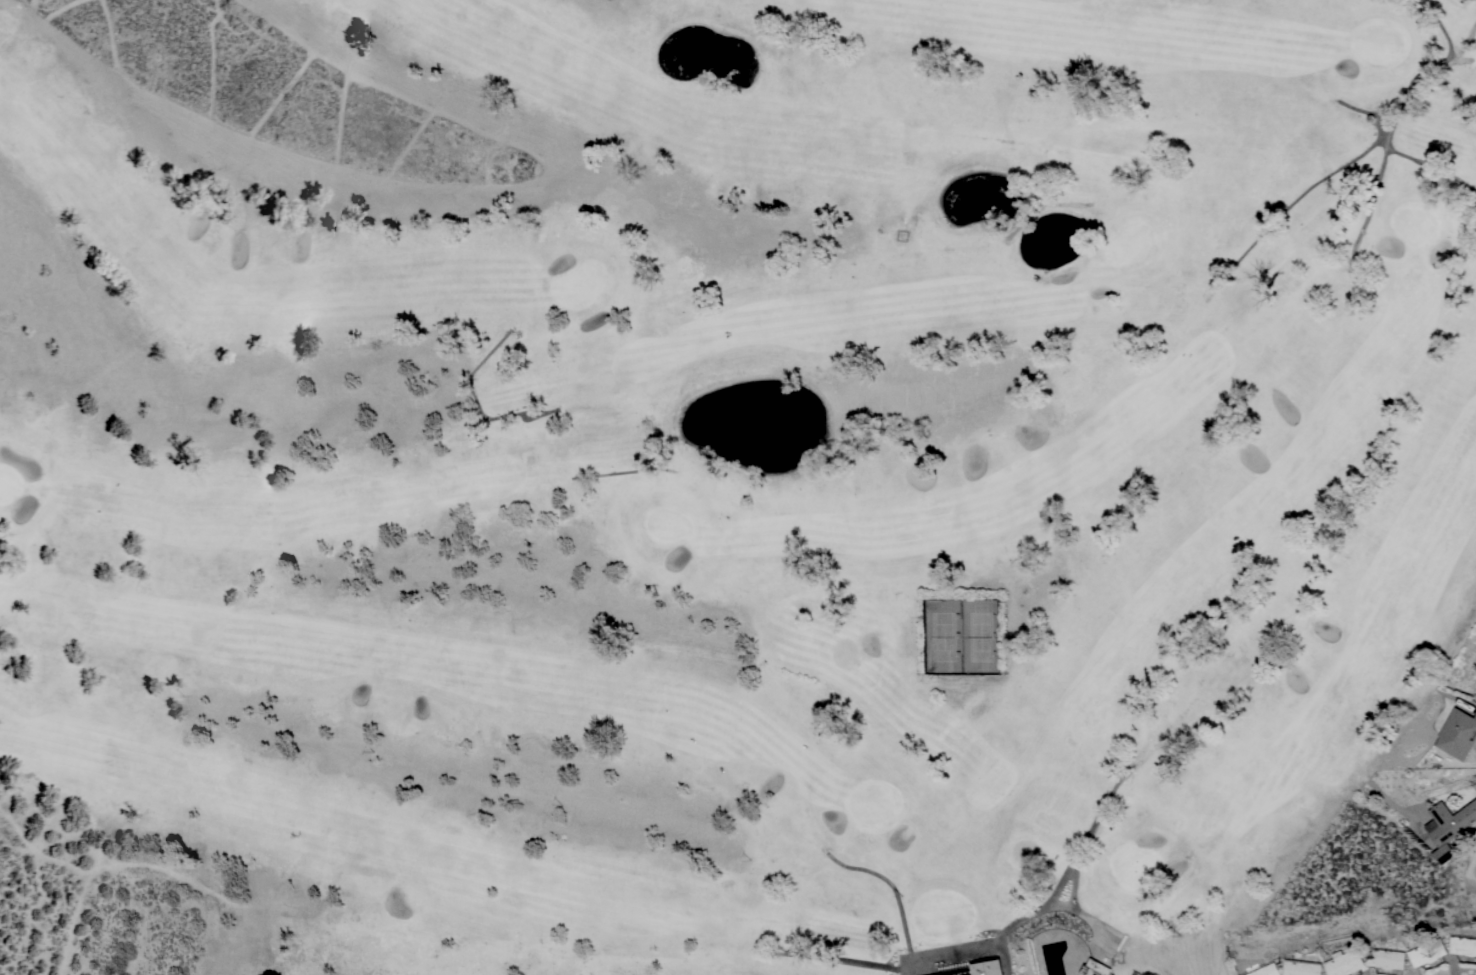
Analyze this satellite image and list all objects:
park: (709, 471)
building: (1458, 733)
building: (1450, 827)
road: (1467, 835)
building: (1464, 946)
building: (1428, 952)
road: (969, 956)
building: (1387, 958)
building: (1345, 962)
building: (989, 967)
building: (1303, 967)
building: (1096, 968)
building: (1267, 969)
building: (942, 974)

